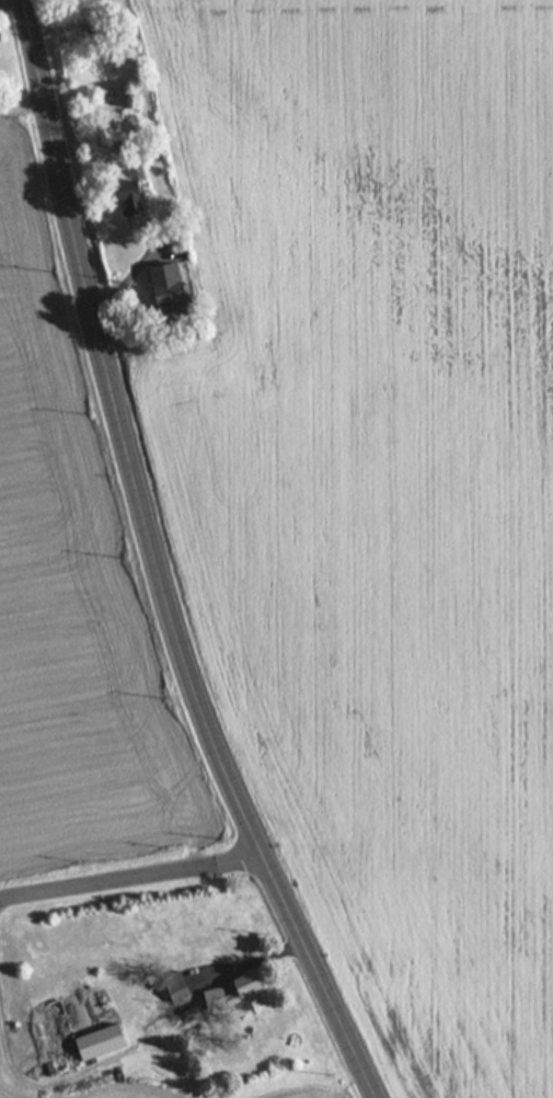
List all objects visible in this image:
building: (185, 297)
road: (160, 561)
road: (127, 877)
building: (168, 988)
building: (240, 993)
building: (43, 1037)

